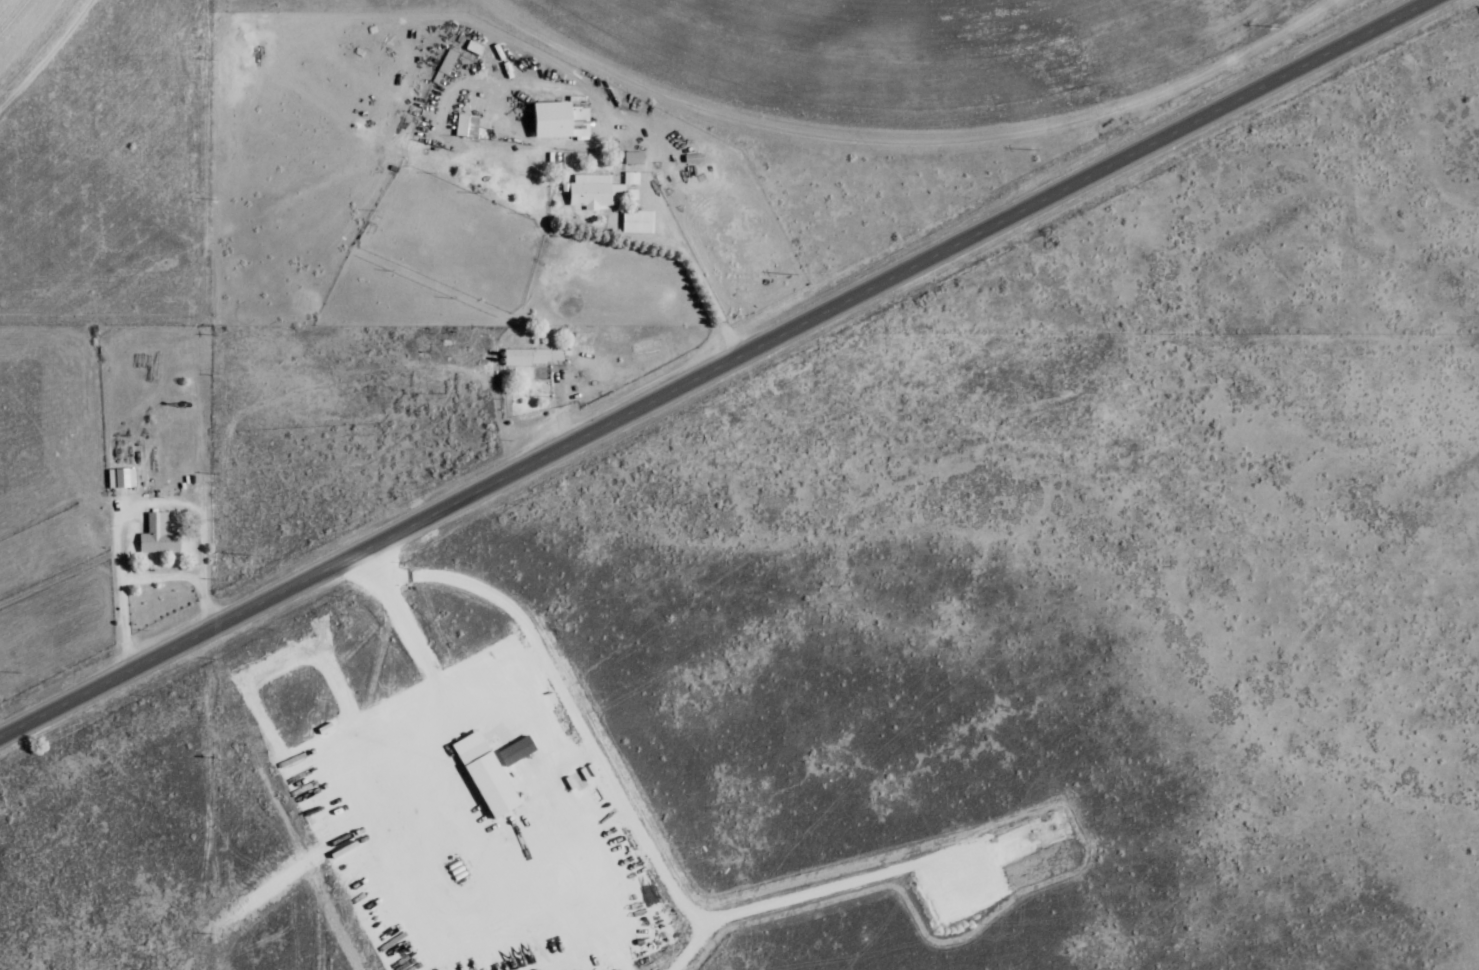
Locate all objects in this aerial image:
building: (474, 47)
building: (447, 64)
building: (578, 100)
building: (560, 121)
building: (467, 126)
building: (634, 158)
building: (632, 179)
building: (598, 192)
building: (638, 222)
building: (534, 357)
road: (714, 368)
building: (122, 478)
building: (159, 535)
building: (516, 751)
building: (486, 774)

